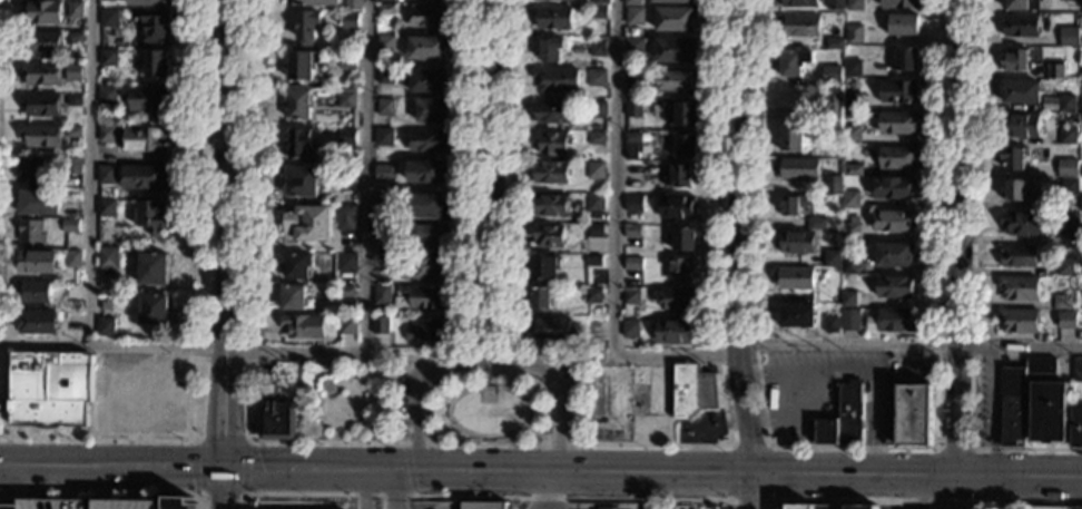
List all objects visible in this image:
building: (106, 0)
building: (1071, 0)
building: (385, 1)
building: (673, 1)
building: (148, 2)
building: (315, 2)
building: (601, 2)
building: (633, 2)
building: (799, 3)
building: (898, 3)
building: (353, 4)
building: (835, 4)
building: (854, 4)
building: (1021, 4)
building: (75, 10)
building: (386, 10)
building: (43, 11)
building: (598, 12)
building: (635, 16)
building: (429, 17)
building: (109, 18)
building: (553, 18)
building: (675, 19)
building: (350, 20)
building: (902, 25)
building: (800, 26)
building: (1019, 26)
building: (155, 27)
building: (307, 27)
building: (854, 33)
building: (75, 38)
building: (1066, 39)
building: (42, 40)
building: (387, 43)
building: (834, 43)
building: (633, 47)
building: (427, 48)
building: (597, 48)
building: (551, 49)
building: (676, 50)
building: (108, 57)
building: (347, 59)
building: (905, 60)
building: (1014, 60)
building: (793, 62)
building: (157, 65)
building: (303, 65)
building: (853, 68)
building: (1054, 70)
building: (73, 71)
building: (1081, 71)
building: (41, 74)
building: (386, 75)
building: (597, 78)
building: (633, 78)
building: (557, 79)
building: (829, 79)
building: (425, 80)
building: (676, 80)
building: (897, 91)
building: (1020, 92)
building: (107, 95)
building: (346, 98)
building: (73, 100)
building: (149, 100)
building: (852, 101)
building: (832, 102)
building: (1065, 104)
building: (41, 105)
building: (299, 105)
building: (385, 106)
building: (1081, 106)
building: (597, 109)
building: (633, 109)
building: (432, 110)
building: (552, 112)
building: (682, 115)
building: (898, 123)
building: (1020, 126)
building: (72, 131)
building: (107, 134)
building: (850, 135)
building: (1066, 135)
building: (41, 136)
building: (346, 137)
building: (384, 137)
building: (790, 137)
building: (596, 138)
building: (147, 139)
building: (427, 140)
building: (551, 143)
building: (299, 144)
building: (633, 145)
building: (685, 146)
building: (897, 157)
building: (1013, 157)
building: (71, 166)
building: (796, 167)
building: (32, 169)
building: (1066, 169)
building: (594, 170)
building: (853, 170)
building: (426, 172)
road: (89, 173)
building: (383, 173)
building: (550, 173)
building: (1081, 173)
building: (107, 175)
road: (365, 176)
building: (679, 176)
building: (144, 177)
building: (346, 177)
building: (302, 182)
road: (491, 182)
building: (834, 185)
building: (894, 187)
building: (1069, 187)
building: (1015, 190)
building: (384, 200)
building: (850, 200)
building: (594, 202)
building: (39, 203)
building: (633, 204)
building: (794, 204)
building: (551, 205)
building: (1081, 205)
building: (423, 206)
building: (675, 206)
building: (107, 208)
building: (151, 217)
building: (346, 217)
road: (260, 221)
building: (893, 221)
building: (1069, 221)
building: (308, 223)
building: (1023, 223)
building: (816, 224)
building: (70, 226)
building: (593, 231)
building: (32, 232)
building: (383, 232)
building: (631, 232)
building: (849, 233)
building: (427, 235)
building: (548, 235)
building: (827, 235)
building: (1080, 235)
road: (739, 237)
road: (616, 238)
road: (955, 238)
building: (682, 239)
building: (796, 243)
road: (228, 254)
building: (893, 254)
building: (1017, 255)
road: (508, 257)
building: (108, 258)
building: (830, 258)
building: (73, 260)
building: (383, 262)
building: (592, 262)
building: (38, 263)
building: (346, 263)
building: (632, 263)
building: (849, 265)
building: (298, 266)
building: (424, 266)
building: (153, 268)
building: (543, 268)
building: (1080, 268)
building: (678, 270)
building: (1062, 270)
building: (794, 277)
road: (974, 278)
building: (894, 287)
building: (1019, 287)
building: (37, 292)
building: (345, 292)
building: (382, 294)
building: (592, 295)
building: (631, 296)
road: (715, 296)
building: (293, 297)
building: (424, 297)
building: (677, 298)
building: (847, 298)
building: (540, 300)
building: (1081, 301)
building: (1062, 302)
building: (154, 310)
road: (189, 313)
building: (796, 315)
building: (849, 320)
building: (895, 320)
building: (1017, 320)
building: (1068, 320)
building: (38, 322)
road: (469, 322)
building: (830, 323)
building: (348, 325)
building: (381, 325)
building: (105, 326)
building: (304, 326)
building: (551, 329)
building: (629, 329)
building: (430, 330)
building: (672, 332)
road: (911, 344)
road: (193, 350)
road: (509, 363)
road: (466, 364)
road: (491, 364)
building: (1040, 365)
building: (1076, 370)
road: (315, 374)
road: (376, 374)
road: (365, 382)
road: (468, 382)
road: (508, 383)
building: (50, 389)
road: (327, 389)
building: (269, 390)
building: (690, 391)
building: (488, 395)
park: (455, 399)
road: (521, 399)
building: (1013, 408)
building: (1047, 411)
building: (908, 417)
building: (843, 418)
building: (279, 421)
road: (321, 422)
road: (373, 429)
building: (1076, 429)
road: (441, 434)
road: (533, 437)
road: (194, 440)
road: (253, 441)
road: (395, 443)
road: (417, 443)
building: (781, 443)
road: (488, 444)
road: (558, 446)
road: (579, 446)
road: (848, 448)
traffic signals: (225, 466)
road: (374, 470)
road: (407, 470)
road: (729, 474)
road: (767, 476)
road: (915, 477)
road: (977, 477)
road: (243, 490)
road: (391, 490)
road: (750, 492)
road: (108, 493)
road: (1001, 493)
road: (481, 498)
building: (97, 502)
parking lot: (97, 502)
road: (874, 502)
building: (250, 503)
building: (486, 505)
road: (1050, 505)
building: (715, 507)
building: (811, 507)
building: (859, 507)
building: (1053, 508)

